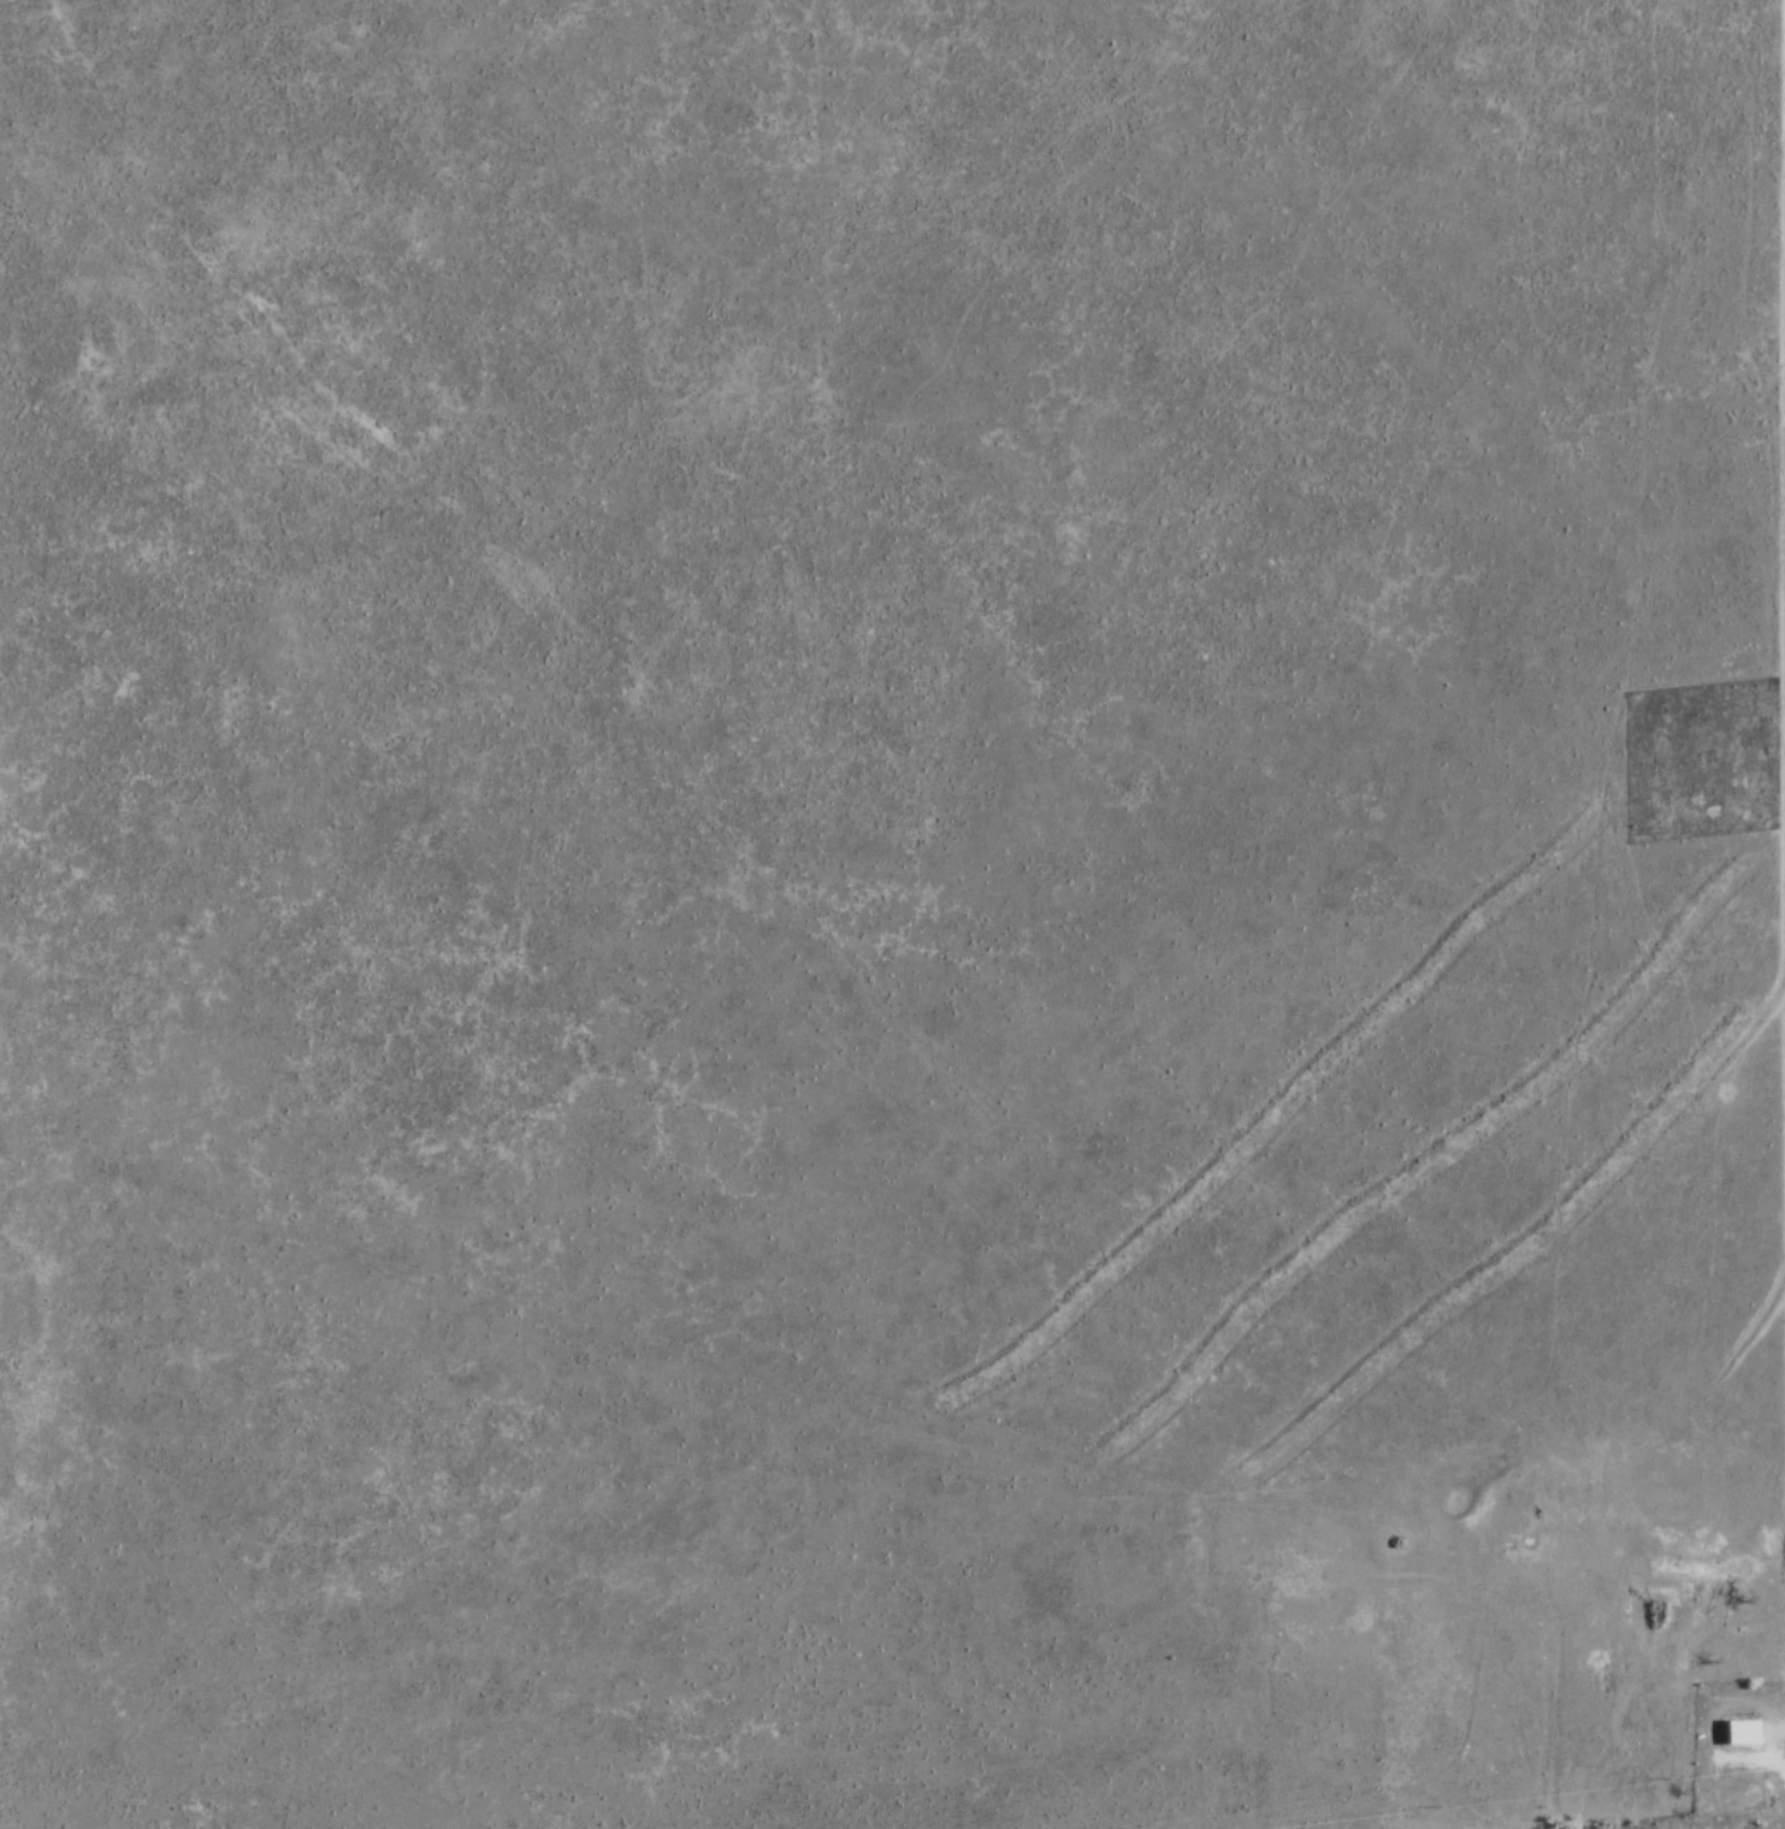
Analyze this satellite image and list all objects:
park: (1701, 757)
building: (1737, 1730)

